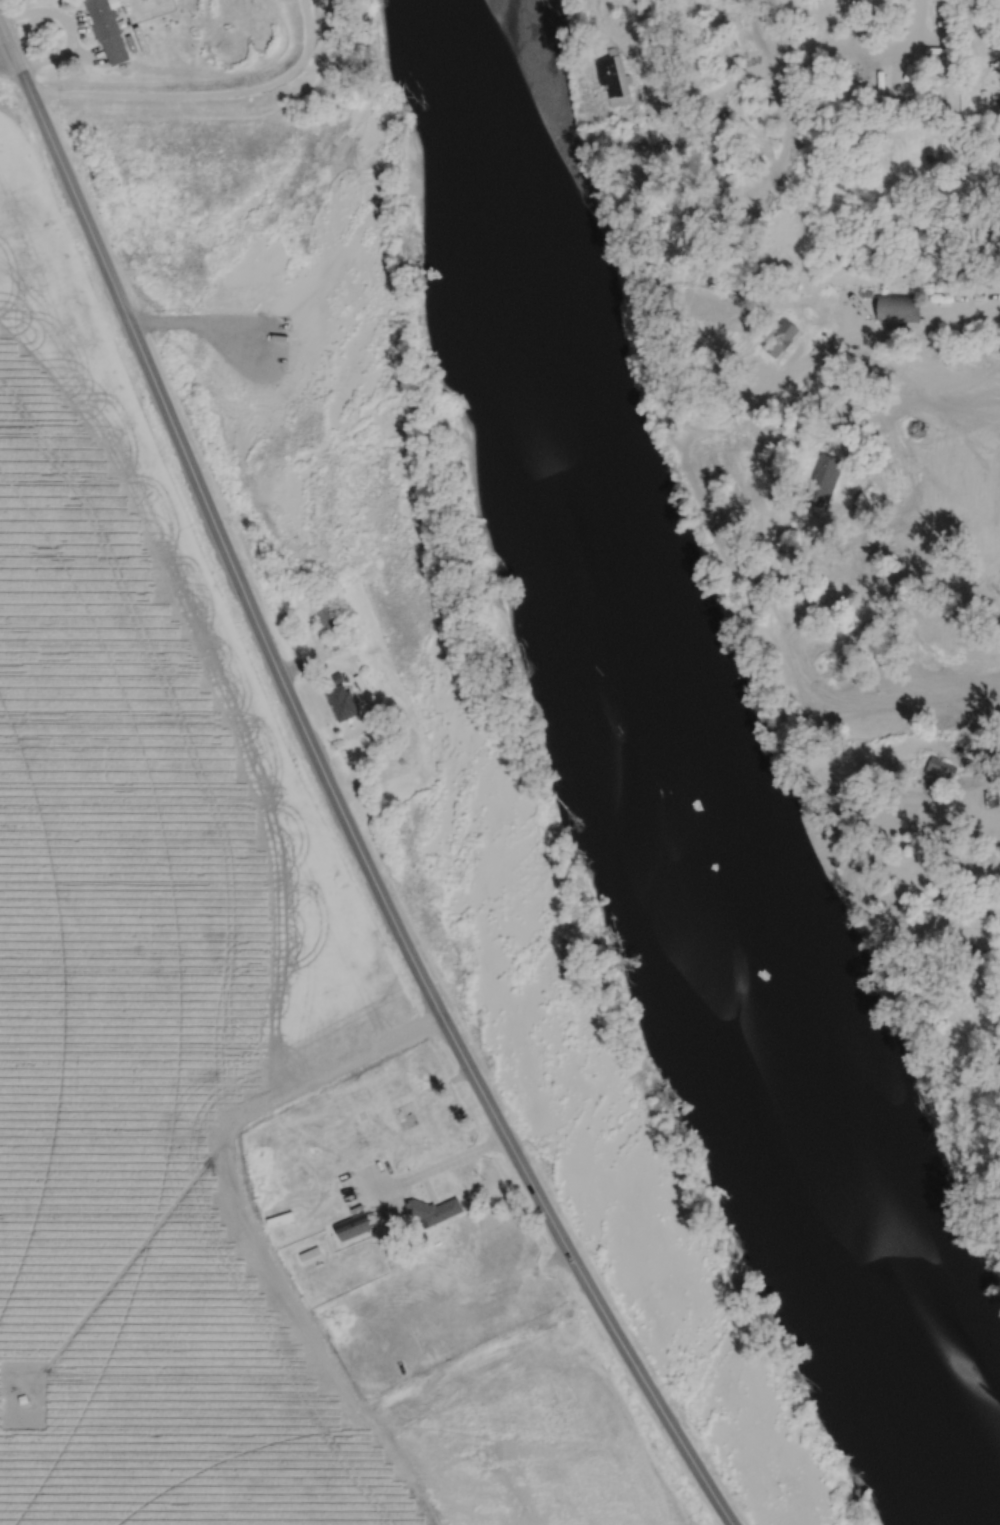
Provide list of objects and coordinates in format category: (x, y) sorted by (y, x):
building: (732, 18)
road: (70, 24)
building: (108, 28)
road: (866, 45)
road: (8, 61)
building: (613, 79)
building: (993, 80)
road: (781, 87)
road: (708, 89)
building: (638, 165)
building: (717, 165)
building: (988, 236)
building: (897, 306)
road: (933, 326)
building: (779, 337)
building: (823, 481)
building: (756, 514)
road: (772, 528)
building: (826, 599)
building: (327, 613)
building: (855, 634)
building: (341, 701)
building: (940, 771)
river: (659, 790)
road: (332, 791)
building: (946, 896)
crop: (189, 1075)
building: (405, 1111)
building: (333, 1128)
road: (446, 1158)
building: (433, 1209)
building: (353, 1225)
building: (310, 1253)
building: (23, 1398)

